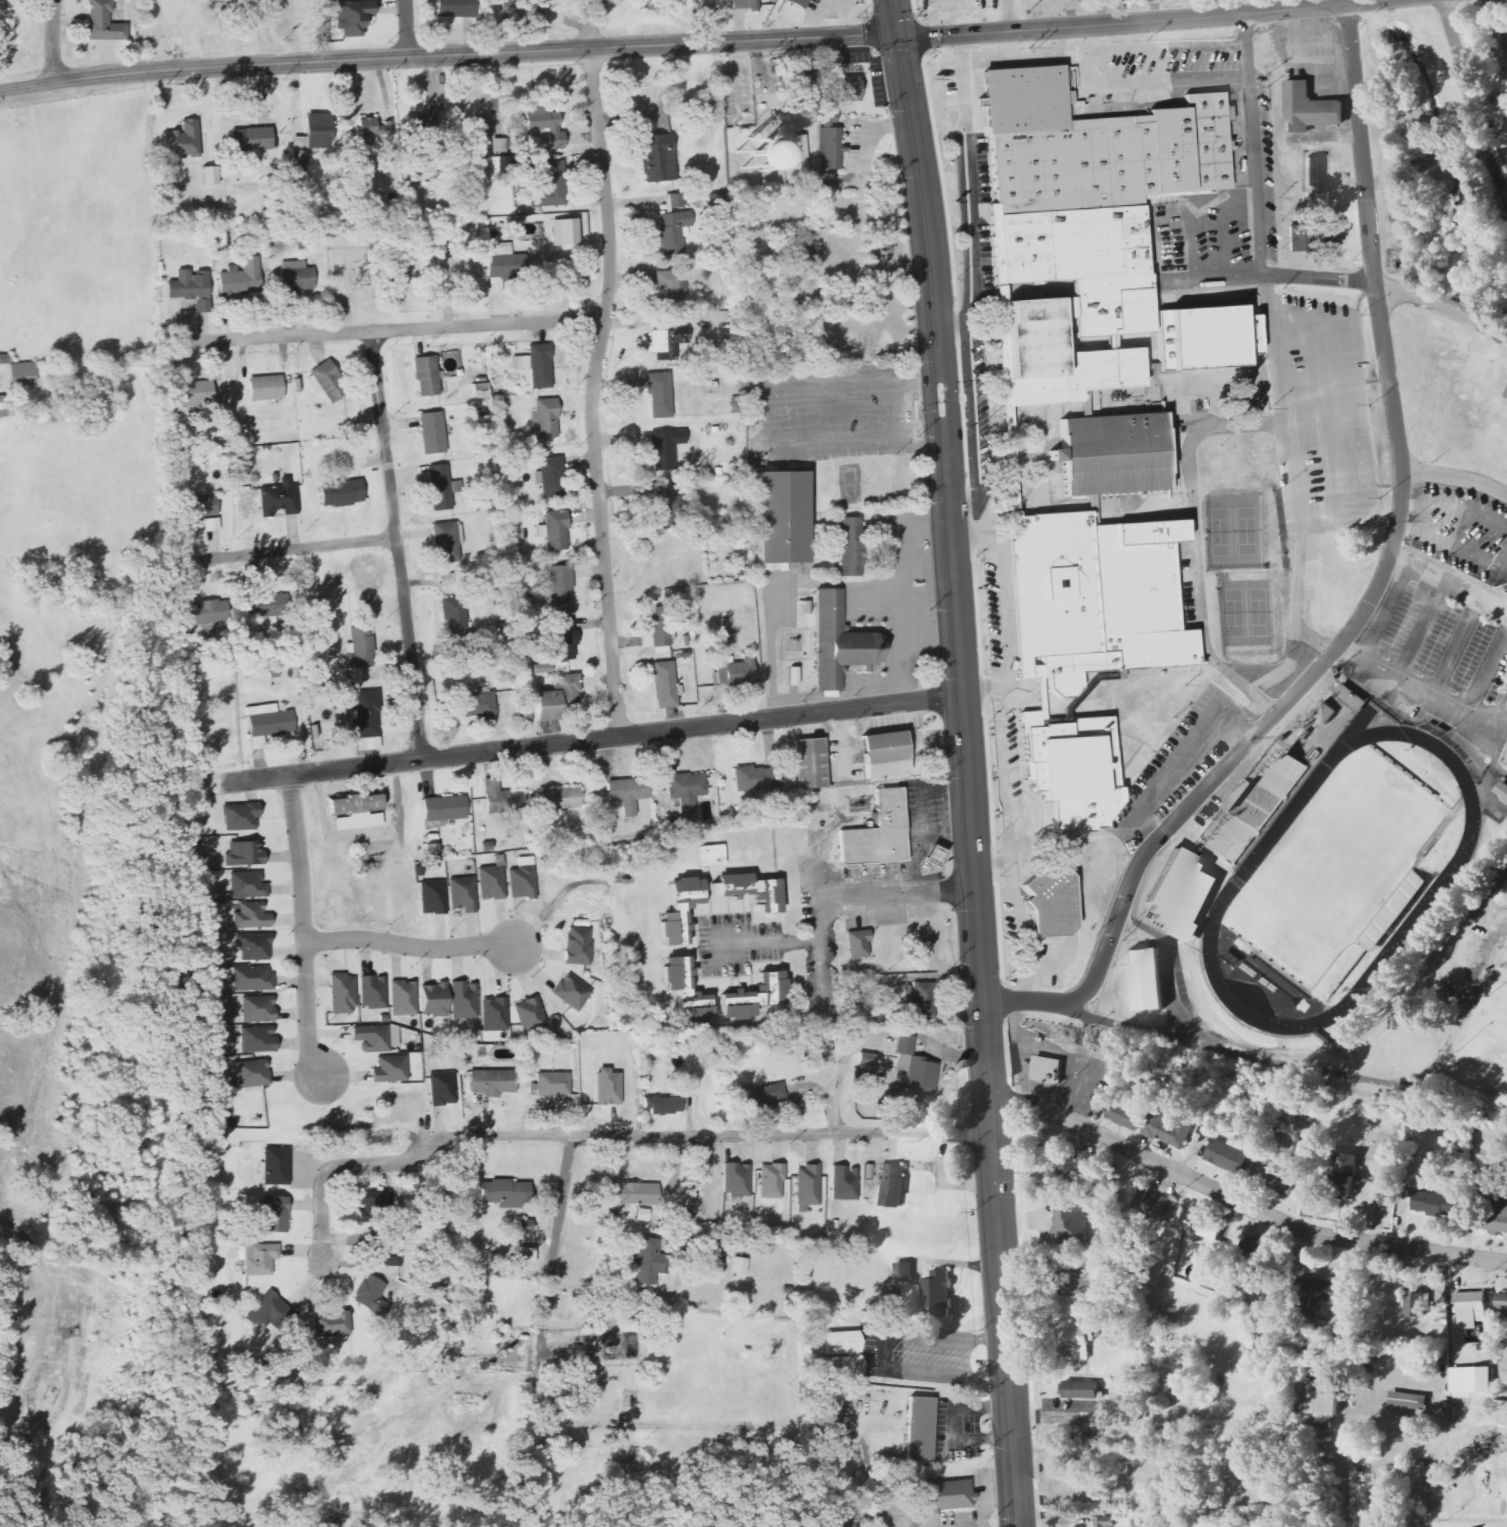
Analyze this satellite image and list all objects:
building: (797, 3)
building: (745, 4)
building: (450, 8)
building: (519, 9)
building: (351, 16)
road: (894, 17)
road: (1133, 20)
building: (104, 22)
road: (592, 23)
road: (408, 28)
building: (1504, 37)
road: (53, 41)
road: (984, 45)
road: (1115, 51)
road: (447, 55)
parking lot: (1173, 63)
building: (800, 81)
road: (1156, 82)
building: (848, 89)
road: (1250, 103)
road: (1469, 103)
building: (1306, 108)
building: (418, 122)
building: (544, 126)
building: (372, 129)
building: (312, 133)
building: (478, 135)
building: (250, 139)
parking lot: (1249, 139)
building: (182, 140)
building: (828, 142)
building: (496, 146)
water tower: (749, 153)
building: (797, 153)
building: (737, 154)
building: (657, 158)
building: (1315, 172)
building: (207, 176)
building: (1391, 177)
road: (969, 184)
building: (548, 186)
building: (557, 222)
building: (672, 224)
building: (1081, 224)
road: (1258, 235)
building: (1297, 236)
road: (1223, 237)
road: (1190, 239)
parking lot: (1208, 239)
building: (809, 253)
building: (503, 268)
building: (458, 269)
building: (296, 276)
building: (240, 277)
road: (1172, 279)
building: (669, 287)
building: (190, 289)
road: (1441, 307)
road: (953, 328)
road: (388, 331)
building: (1203, 338)
building: (668, 339)
building: (536, 366)
building: (21, 373)
building: (427, 376)
building: (324, 377)
building: (264, 388)
building: (194, 391)
building: (479, 391)
road: (595, 392)
building: (659, 395)
building: (1506, 395)
building: (1506, 397)
building: (1084, 404)
building: (6, 409)
parking lot: (1319, 412)
road: (1354, 414)
building: (546, 417)
road: (1322, 417)
road: (974, 427)
building: (432, 433)
building: (662, 451)
building: (1112, 454)
road: (1292, 474)
building: (549, 477)
road: (1455, 478)
building: (440, 487)
building: (340, 494)
building: (278, 499)
building: (666, 505)
building: (198, 507)
road: (1455, 508)
building: (780, 519)
parking lot: (1460, 526)
building: (554, 530)
park: (1245, 531)
park: (1220, 532)
building: (445, 542)
road: (1196, 543)
road: (396, 545)
road: (1454, 546)
building: (848, 547)
road: (285, 551)
building: (445, 580)
road: (1448, 581)
building: (560, 585)
road: (904, 589)
road: (1000, 595)
road: (1372, 596)
building: (1092, 599)
road: (876, 600)
building: (264, 602)
road: (1383, 612)
building: (204, 613)
park: (1235, 613)
park: (1258, 613)
road: (1419, 629)
building: (657, 630)
building: (723, 637)
parking lot: (1440, 637)
road: (931, 638)
building: (563, 639)
building: (837, 643)
road: (1455, 646)
building: (360, 648)
building: (542, 668)
road: (1284, 669)
road: (1487, 671)
building: (733, 672)
building: (664, 684)
road: (979, 687)
road: (1425, 693)
building: (1350, 695)
building: (556, 699)
building: (476, 705)
building: (1325, 711)
building: (366, 720)
building: (268, 722)
road: (843, 737)
road: (934, 738)
road: (599, 739)
road: (883, 744)
building: (884, 756)
road: (1186, 760)
building: (808, 763)
parking lot: (1180, 764)
building: (1073, 768)
building: (750, 778)
road: (967, 779)
building: (686, 789)
building: (1245, 791)
building: (1501, 791)
building: (627, 792)
building: (501, 798)
building: (562, 798)
building: (1259, 804)
building: (444, 808)
building: (356, 811)
building: (239, 817)
road: (1129, 827)
building: (602, 831)
building: (877, 832)
road: (1008, 845)
building: (433, 850)
building: (243, 853)
building: (711, 855)
building: (932, 855)
gas station: (932, 855)
road: (1192, 856)
park: (1336, 862)
road: (991, 864)
road: (817, 866)
stadium: (1327, 866)
track: (1453, 866)
building: (523, 882)
building: (492, 883)
building: (247, 885)
building: (749, 890)
building: (1184, 892)
road: (908, 893)
building: (463, 894)
building: (433, 896)
building: (1050, 899)
building: (1392, 909)
building: (678, 910)
building: (251, 916)
road: (305, 926)
road: (801, 940)
building: (856, 944)
building: (253, 946)
building: (578, 946)
road: (409, 947)
road: (1058, 960)
parking lot: (1043, 962)
road: (823, 974)
building: (251, 978)
building: (1147, 979)
building: (684, 990)
building: (372, 992)
building: (572, 992)
building: (342, 994)
building: (753, 997)
road: (1171, 997)
building: (403, 998)
building: (433, 999)
building: (464, 999)
building: (918, 1001)
building: (257, 1009)
building: (529, 1011)
road: (1075, 1013)
building: (495, 1014)
road: (44, 1025)
building: (372, 1037)
building: (256, 1038)
building: (865, 1059)
road: (1090, 1066)
building: (915, 1068)
building: (390, 1069)
building: (1046, 1069)
building: (251, 1072)
road: (1337, 1075)
building: (491, 1082)
building: (553, 1084)
building: (607, 1087)
building: (688, 1087)
building: (442, 1089)
building: (759, 1095)
building: (662, 1105)
building: (1123, 1115)
building: (1169, 1129)
road: (709, 1137)
building: (1226, 1156)
building: (1085, 1157)
building: (275, 1166)
road: (337, 1168)
building: (1343, 1174)
building: (1276, 1176)
building: (735, 1179)
building: (771, 1181)
building: (844, 1183)
building: (807, 1185)
building: (893, 1186)
building: (504, 1193)
building: (632, 1193)
building: (1403, 1196)
building: (1426, 1202)
building: (1152, 1203)
road: (1241, 1203)
building: (373, 1204)
building: (273, 1214)
building: (1491, 1215)
building: (1072, 1224)
building: (1201, 1226)
building: (524, 1227)
road: (556, 1229)
building: (384, 1249)
building: (1249, 1250)
building: (526, 1257)
building: (258, 1259)
building: (645, 1261)
building: (718, 1263)
building: (741, 1265)
road: (41, 1269)
building: (902, 1272)
building: (1077, 1283)
building: (936, 1293)
building: (1314, 1293)
building: (371, 1296)
building: (1415, 1302)
building: (1501, 1303)
building: (1470, 1307)
building: (268, 1311)
building: (332, 1328)
building: (1079, 1341)
building: (1262, 1345)
road: (546, 1346)
building: (840, 1355)
building: (1168, 1380)
building: (1470, 1380)
building: (1078, 1390)
building: (1317, 1398)
building: (1404, 1400)
building: (828, 1416)
road: (557, 1419)
road: (42, 1424)
building: (919, 1427)
road: (866, 1464)
road: (562, 1472)
building: (942, 1496)
building: (1104, 1521)
building: (840, 1523)

